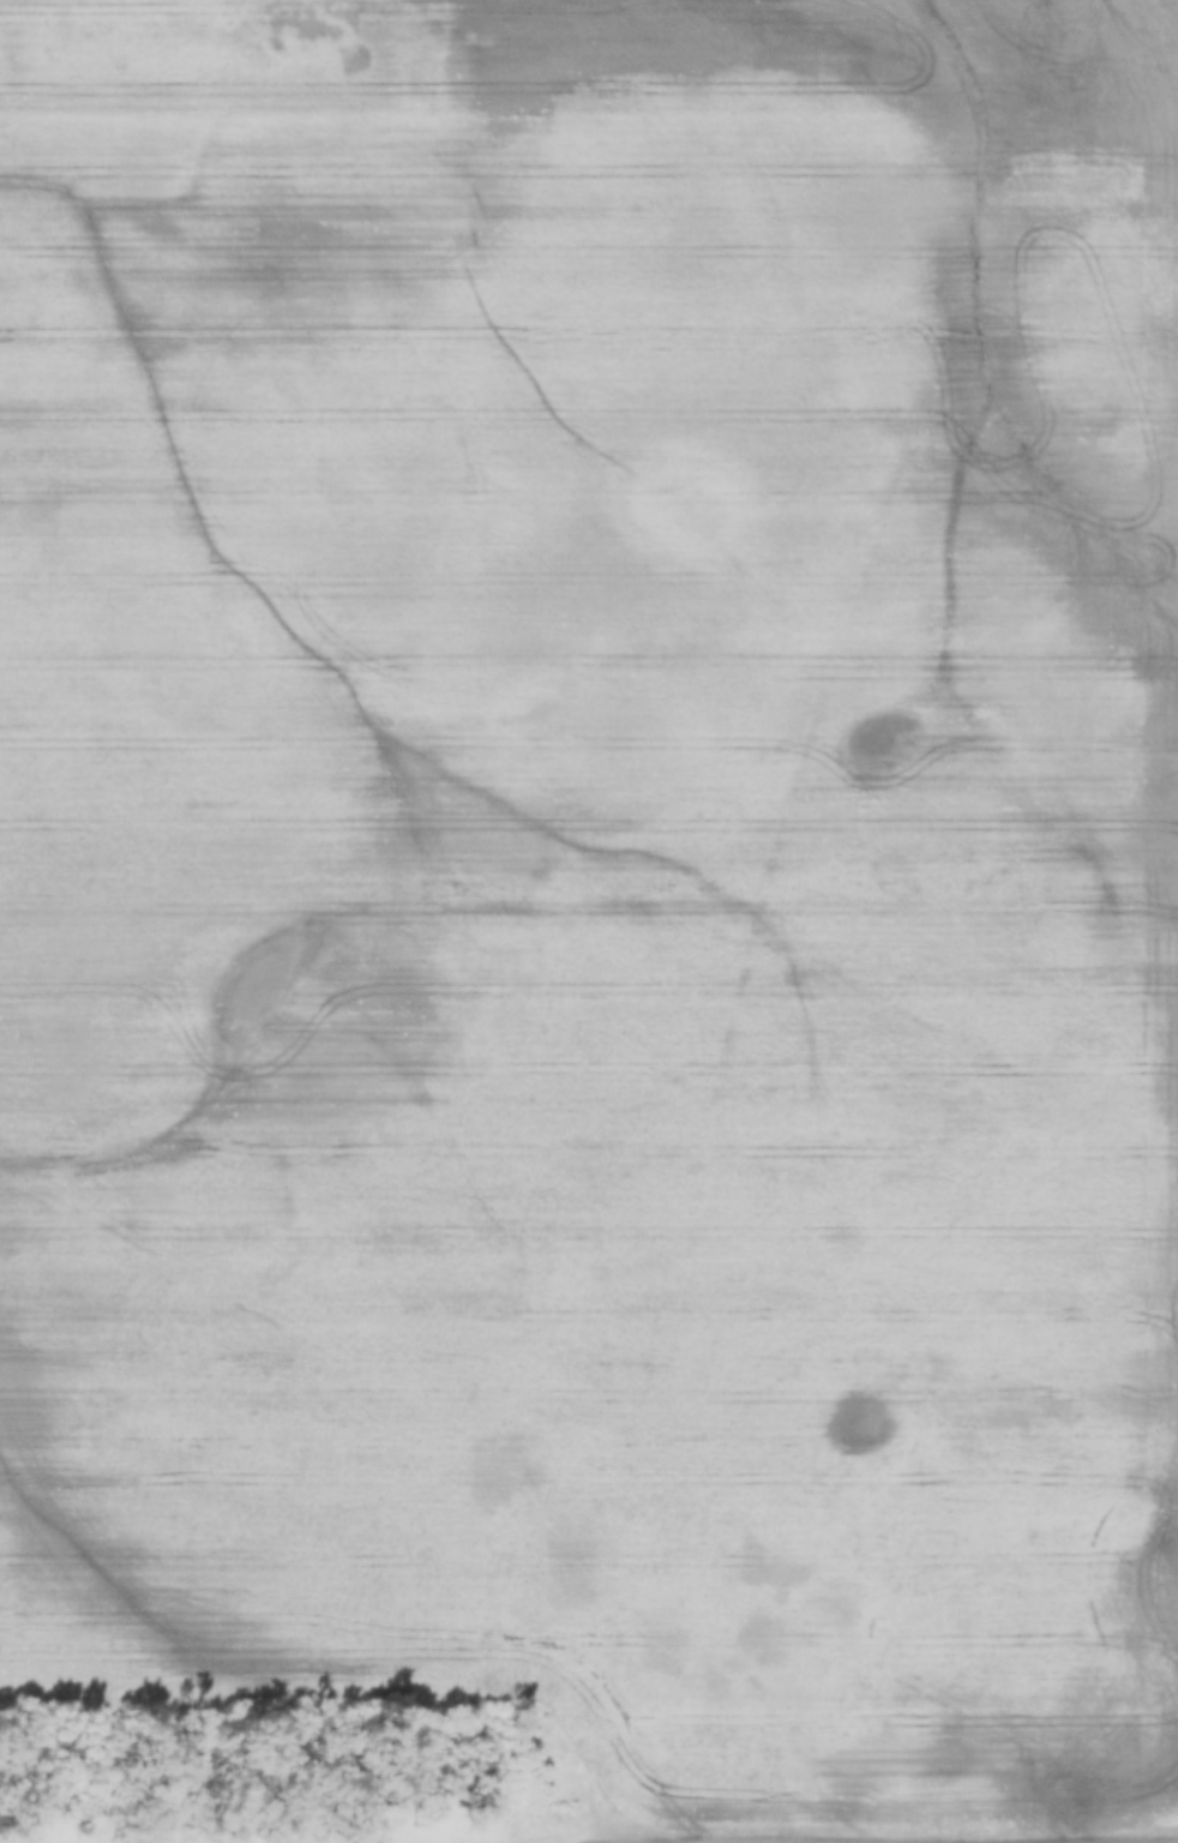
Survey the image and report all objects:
road: (1128, 1839)

